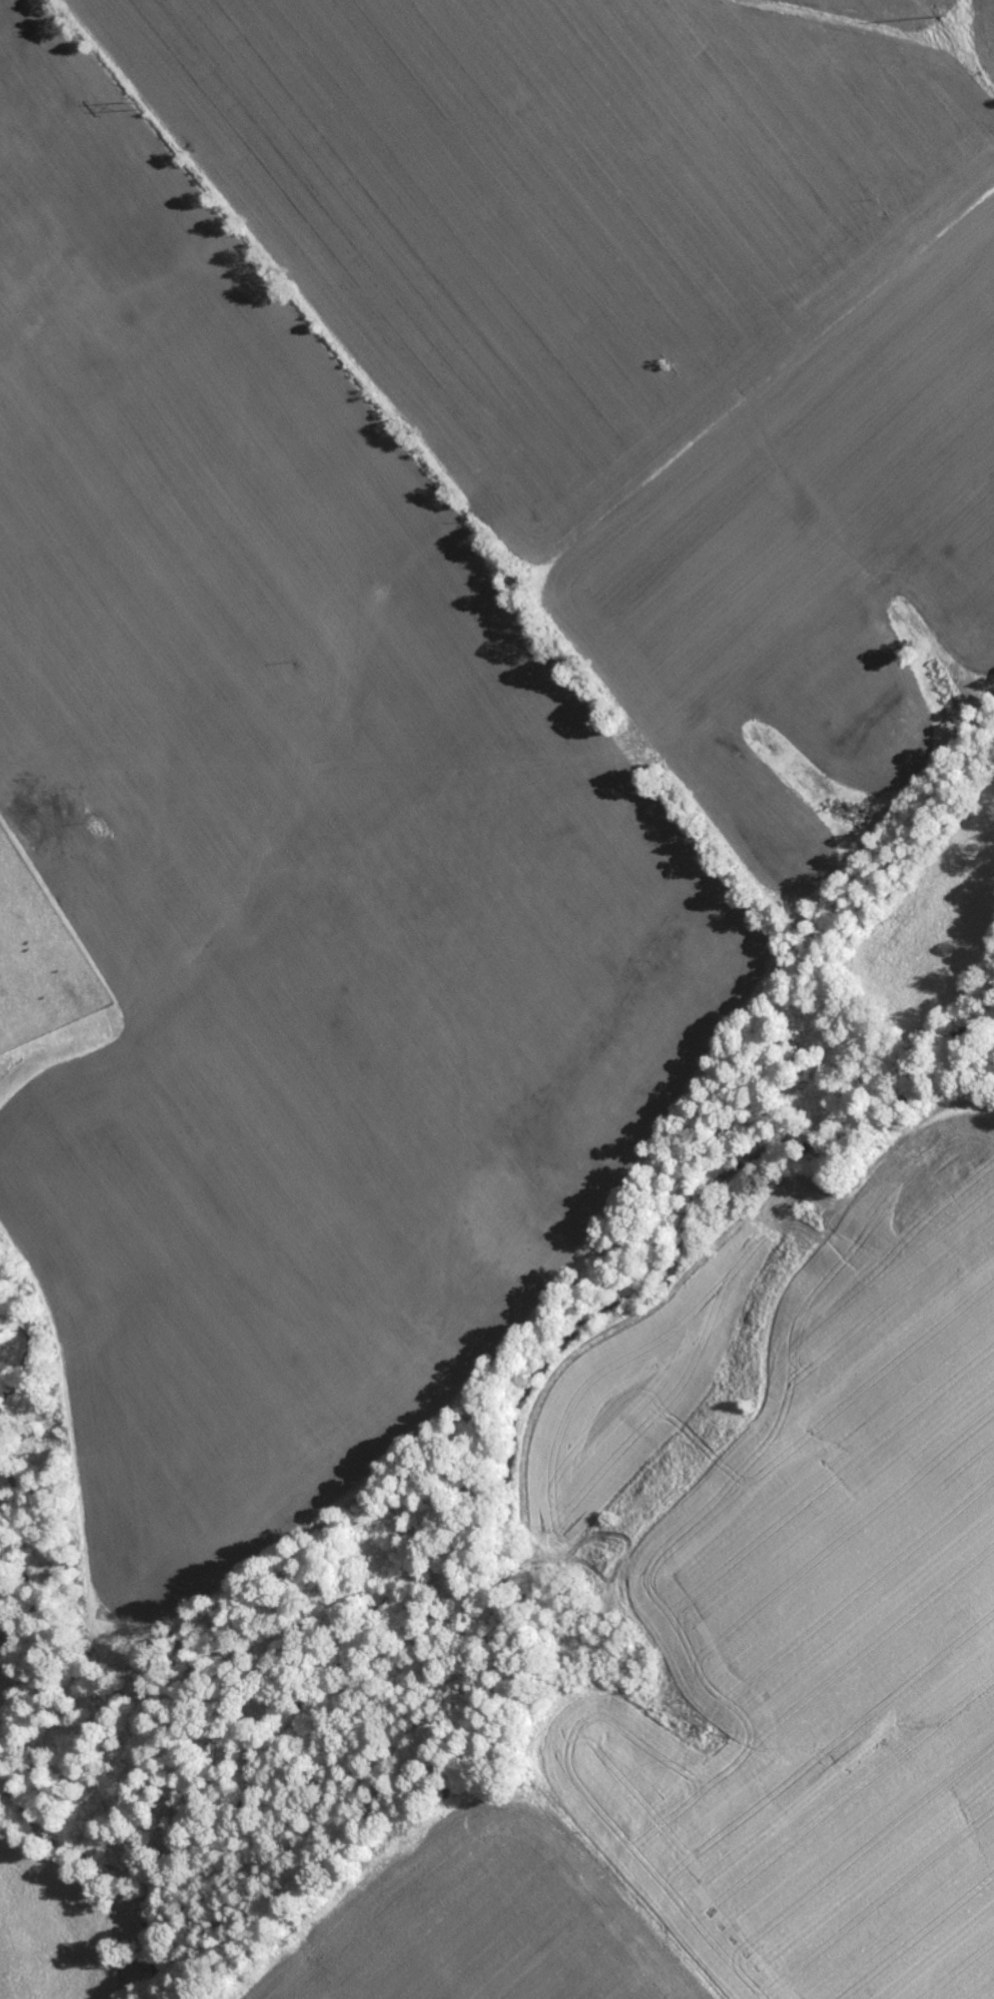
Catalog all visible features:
power tower: (140, 103)

